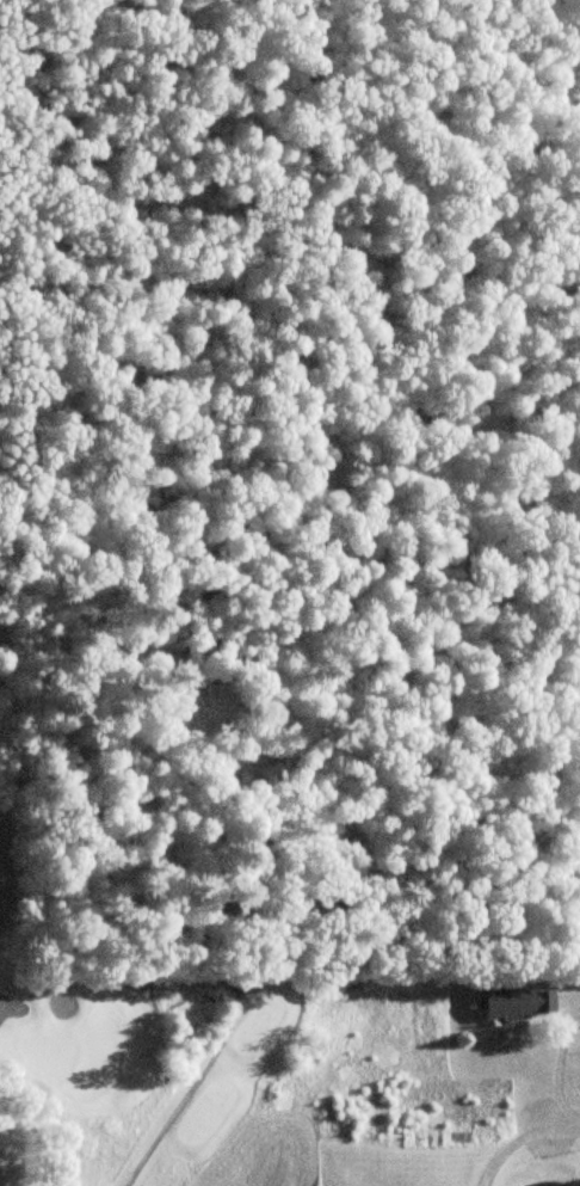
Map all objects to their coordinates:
building: (516, 1004)
park: (149, 1059)
road: (566, 1113)
road: (507, 1142)

